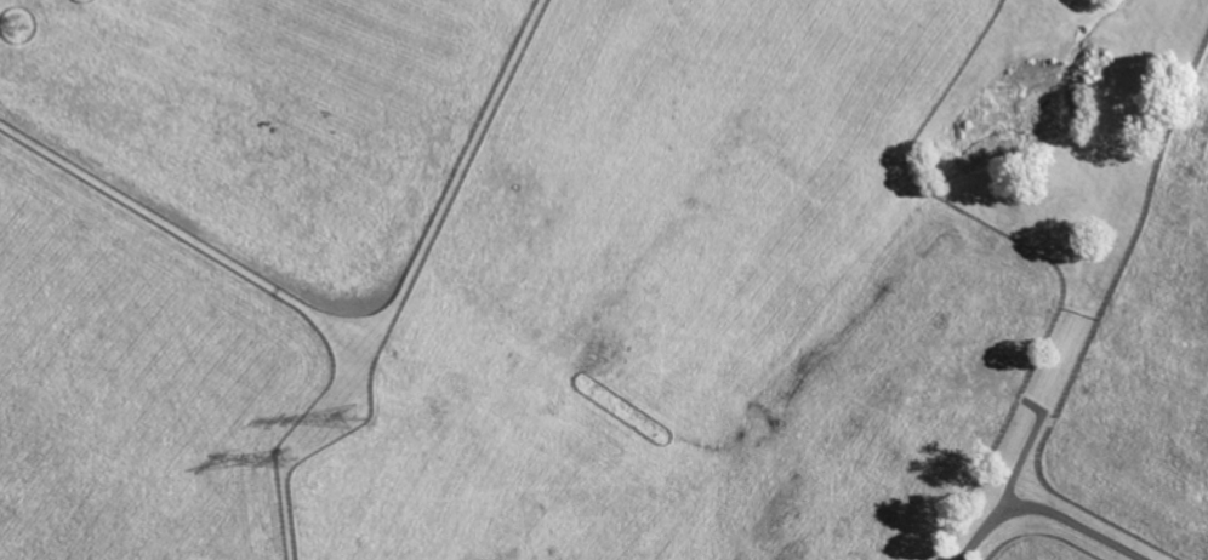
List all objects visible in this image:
power tower: (22, 21)
power tower: (357, 416)
power tower: (287, 456)
road: (1045, 514)

